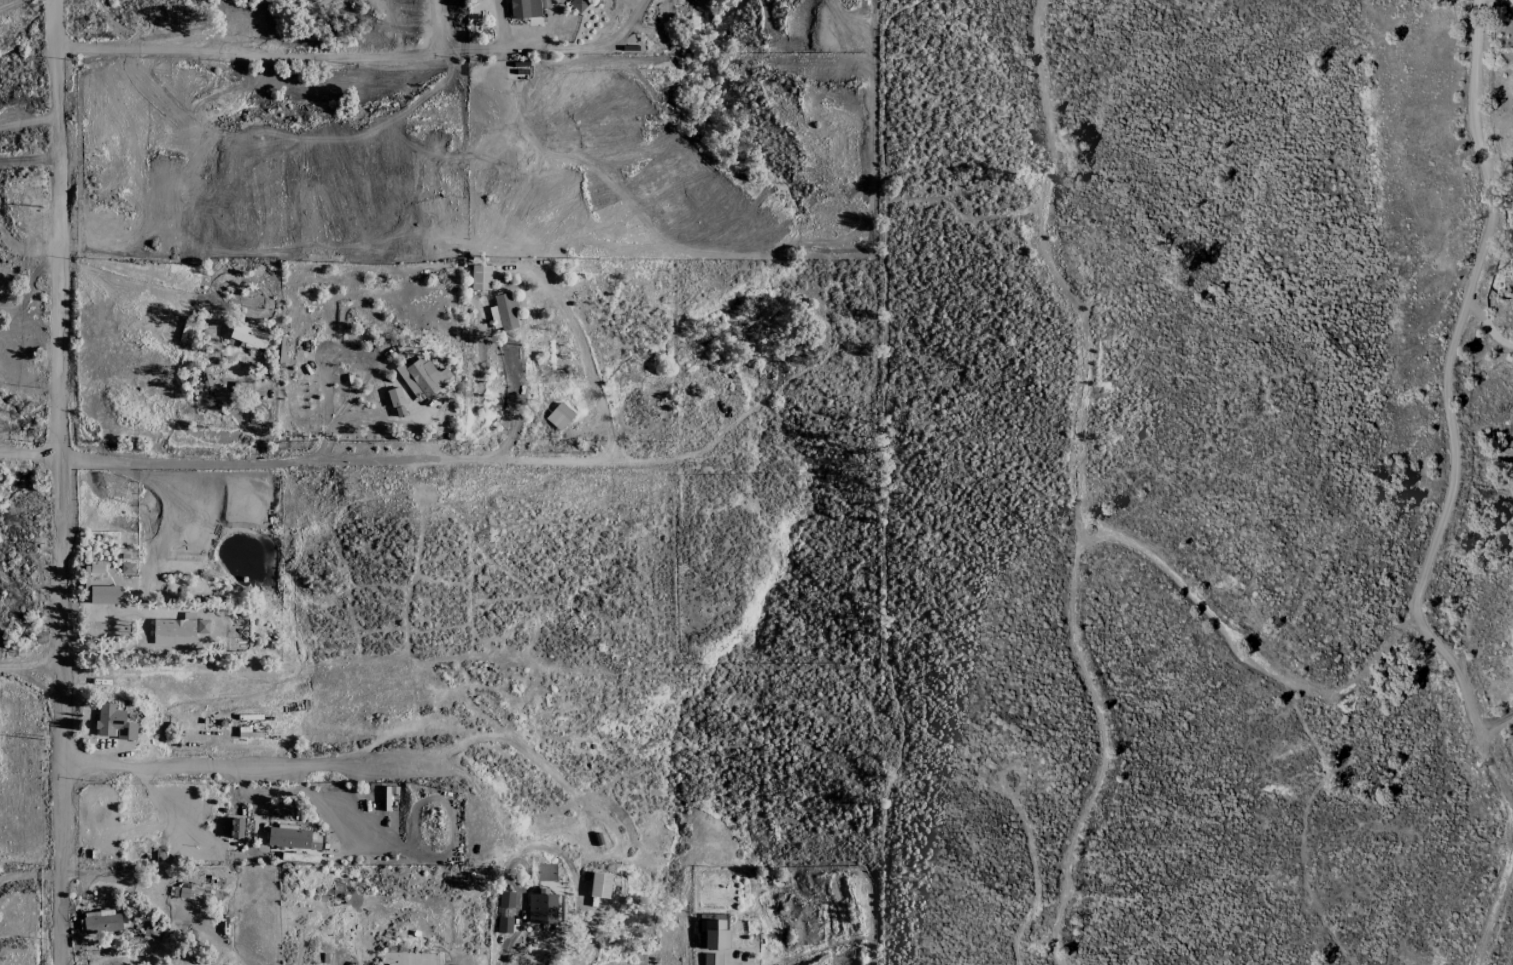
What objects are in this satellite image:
building: (577, 5)
building: (524, 9)
road: (363, 55)
road: (28, 121)
road: (28, 161)
building: (480, 277)
road: (117, 280)
road: (30, 286)
road: (1462, 305)
building: (505, 312)
building: (249, 338)
building: (423, 377)
building: (204, 380)
road: (514, 409)
building: (559, 416)
road: (27, 455)
road: (357, 461)
road: (55, 482)
road: (1080, 482)
building: (104, 595)
building: (202, 627)
building: (175, 631)
road: (1252, 643)
road: (29, 663)
road: (1467, 704)
road: (1494, 718)
building: (113, 723)
road: (242, 753)
building: (235, 828)
building: (287, 837)
building: (599, 885)
building: (189, 893)
road: (1496, 900)
building: (541, 908)
building: (504, 912)
building: (101, 921)
building: (713, 934)
building: (712, 959)

